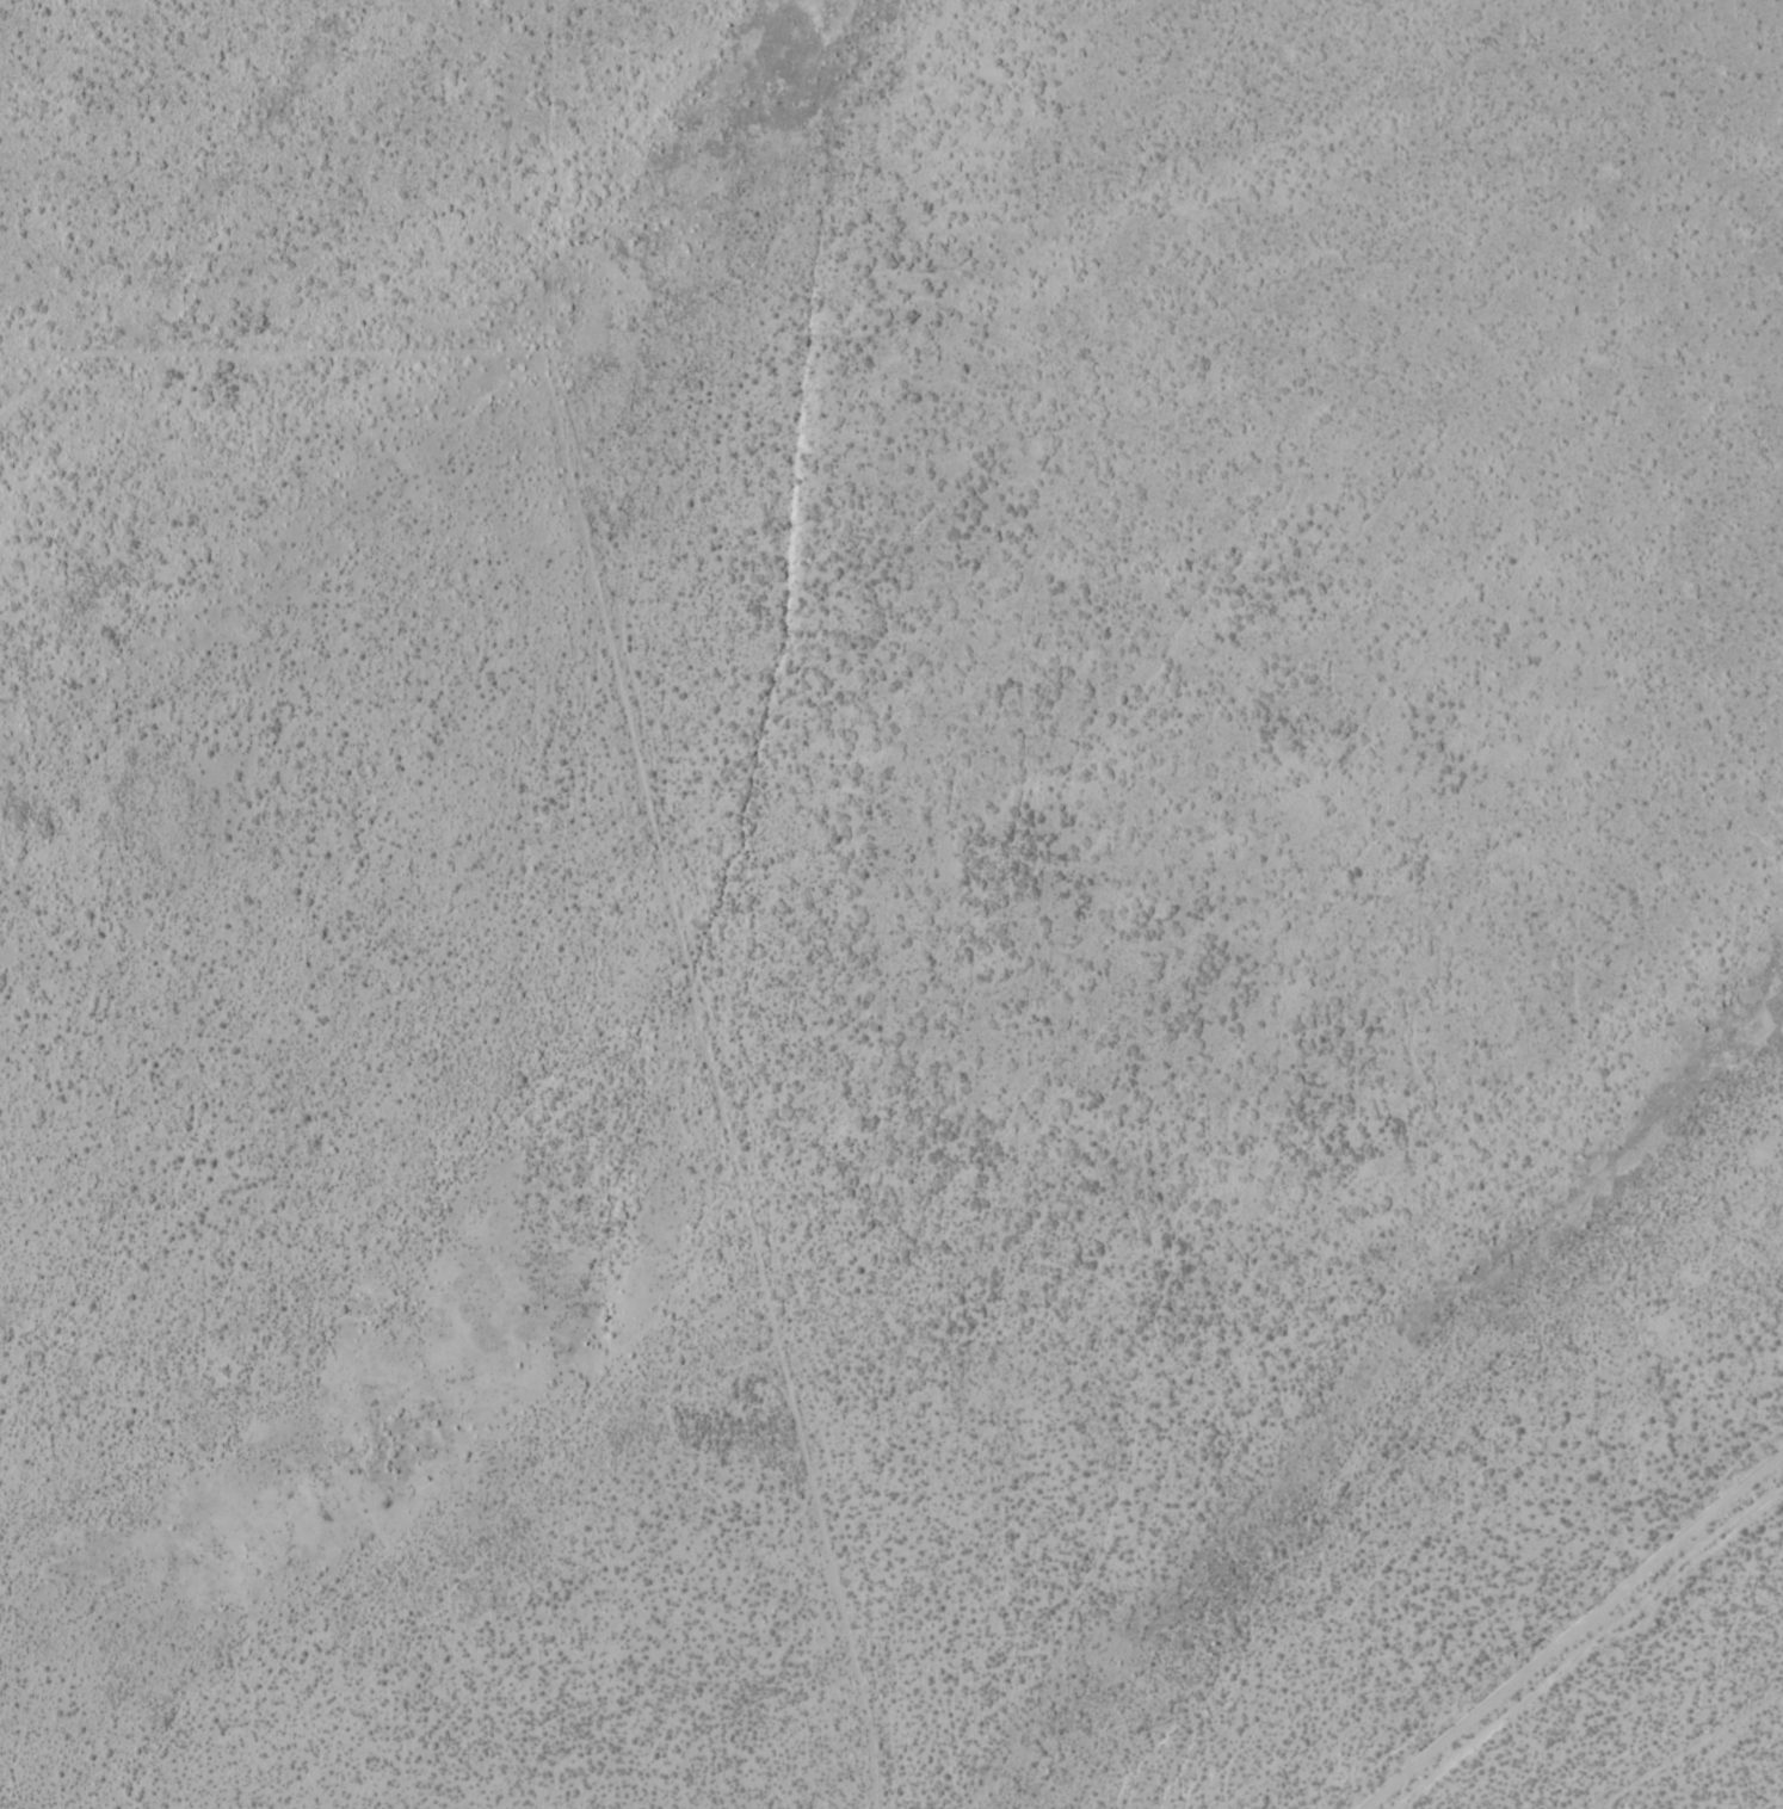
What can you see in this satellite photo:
road: (1584, 1643)

